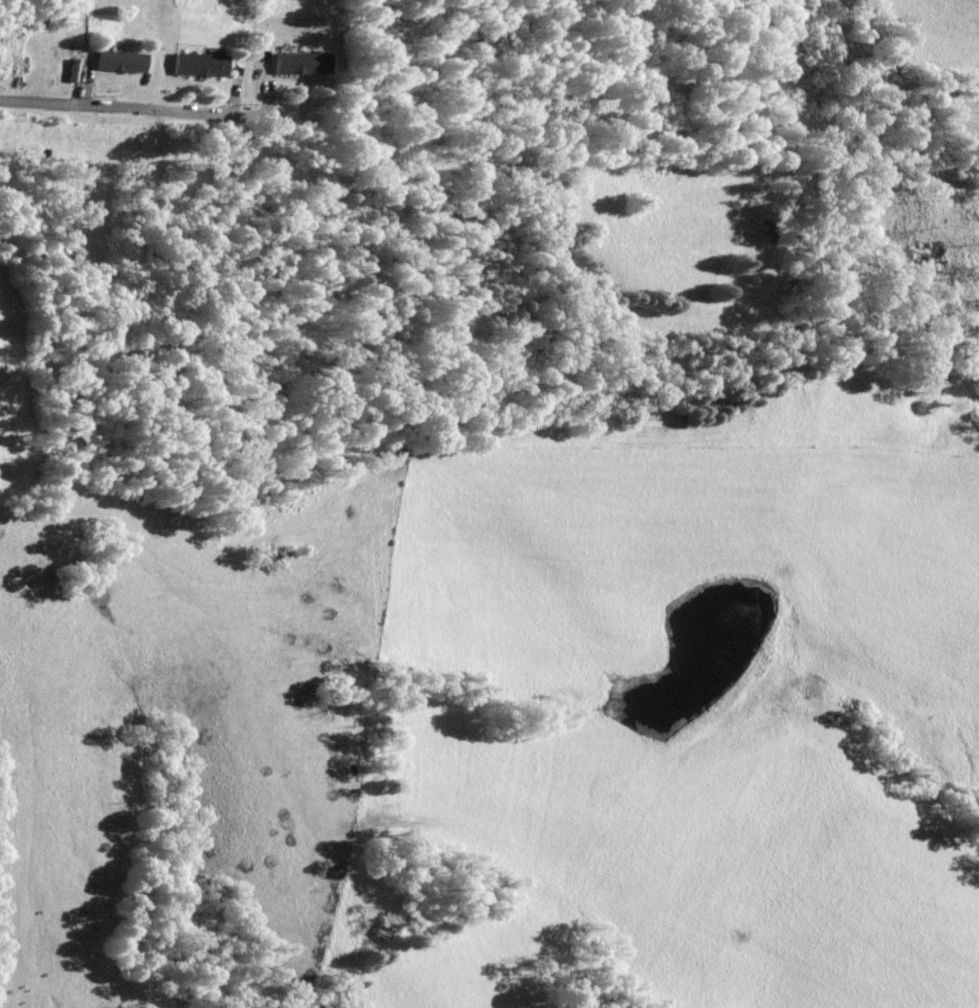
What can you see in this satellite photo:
building: (117, 60)
building: (301, 63)
building: (199, 64)
road: (83, 80)
road: (236, 91)
road: (270, 97)
road: (138, 107)

